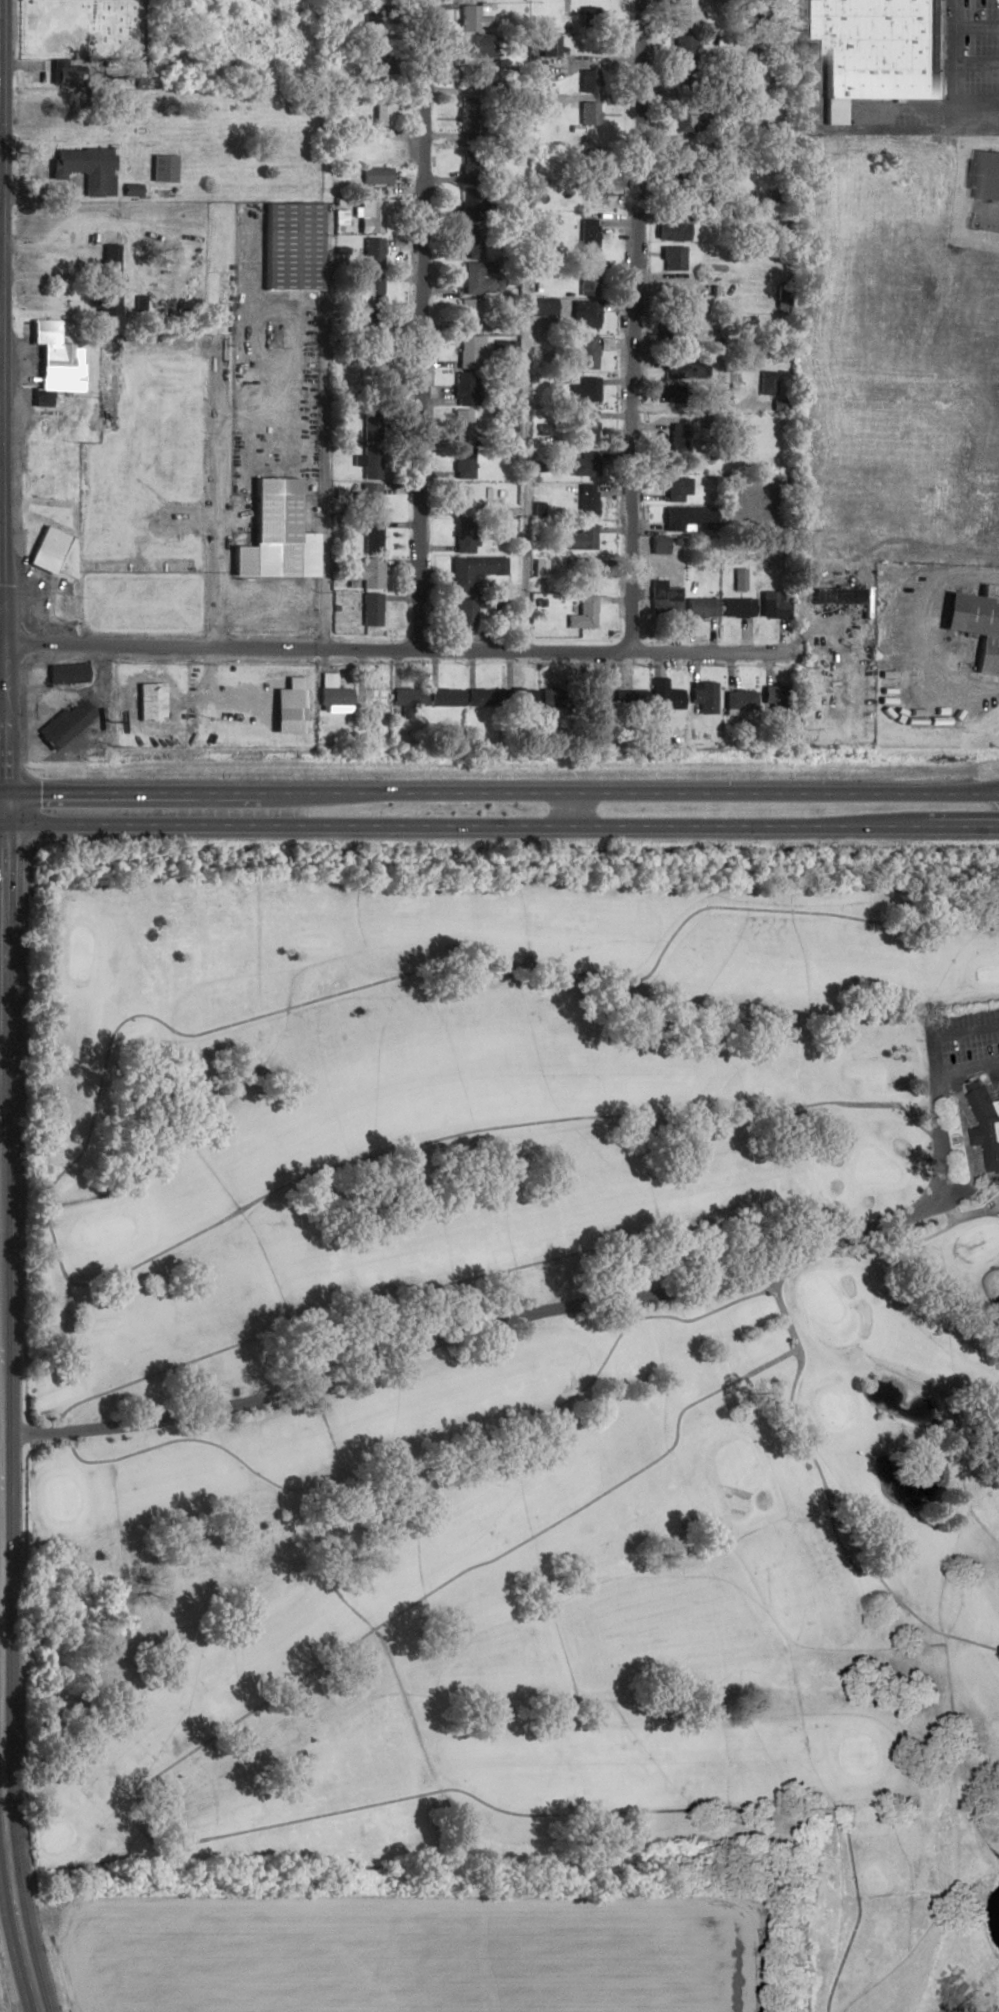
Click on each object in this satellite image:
building: (684, 14)
building: (467, 18)
park: (80, 27)
building: (471, 45)
building: (546, 45)
building: (682, 48)
building: (878, 50)
road: (965, 56)
building: (375, 65)
building: (59, 72)
building: (467, 79)
building: (587, 81)
building: (382, 111)
road: (928, 113)
building: (467, 116)
building: (679, 117)
building: (471, 159)
building: (157, 167)
building: (83, 168)
building: (373, 176)
building: (585, 181)
parking lot: (972, 183)
building: (988, 185)
building: (368, 216)
building: (471, 221)
building: (671, 230)
building: (587, 236)
building: (289, 246)
building: (672, 258)
building: (368, 273)
building: (475, 278)
building: (587, 279)
building: (107, 280)
building: (542, 307)
building: (584, 314)
building: (468, 315)
road: (411, 323)
road: (523, 324)
road: (629, 324)
road: (0, 346)
building: (469, 352)
building: (587, 353)
building: (55, 363)
building: (680, 367)
building: (463, 389)
building: (588, 390)
building: (673, 393)
building: (370, 426)
building: (461, 426)
building: (588, 427)
road: (209, 435)
building: (677, 438)
building: (368, 462)
building: (462, 463)
building: (582, 466)
building: (675, 490)
building: (472, 497)
building: (369, 499)
building: (585, 501)
building: (678, 518)
building: (274, 534)
building: (371, 537)
building: (464, 537)
building: (580, 538)
building: (47, 549)
building: (473, 571)
building: (367, 573)
building: (836, 597)
building: (585, 600)
building: (663, 601)
building: (772, 605)
road: (0, 608)
building: (700, 608)
building: (737, 608)
building: (370, 609)
building: (470, 610)
building: (976, 623)
road: (922, 635)
road: (355, 646)
building: (67, 673)
building: (332, 693)
building: (551, 695)
building: (370, 696)
building: (444, 697)
building: (481, 697)
building: (662, 697)
building: (407, 698)
building: (521, 698)
building: (772, 699)
building: (597, 700)
building: (703, 700)
building: (737, 700)
building: (149, 701)
building: (63, 724)
road: (976, 791)
road: (477, 794)
road: (976, 796)
road: (499, 828)
road: (0, 1001)
parking lot: (961, 1017)
parking lot: (969, 1047)
road: (973, 1071)
parking lot: (996, 1086)
building: (986, 1123)
road: (80, 1137)
road: (968, 1144)
road: (966, 1215)
road: (849, 1255)
road: (945, 1291)
road: (416, 1295)
road: (581, 1302)
park: (520, 1383)
road: (425, 1454)
road: (0, 1483)
road: (837, 1539)
road: (156, 1829)
crop: (430, 1948)

